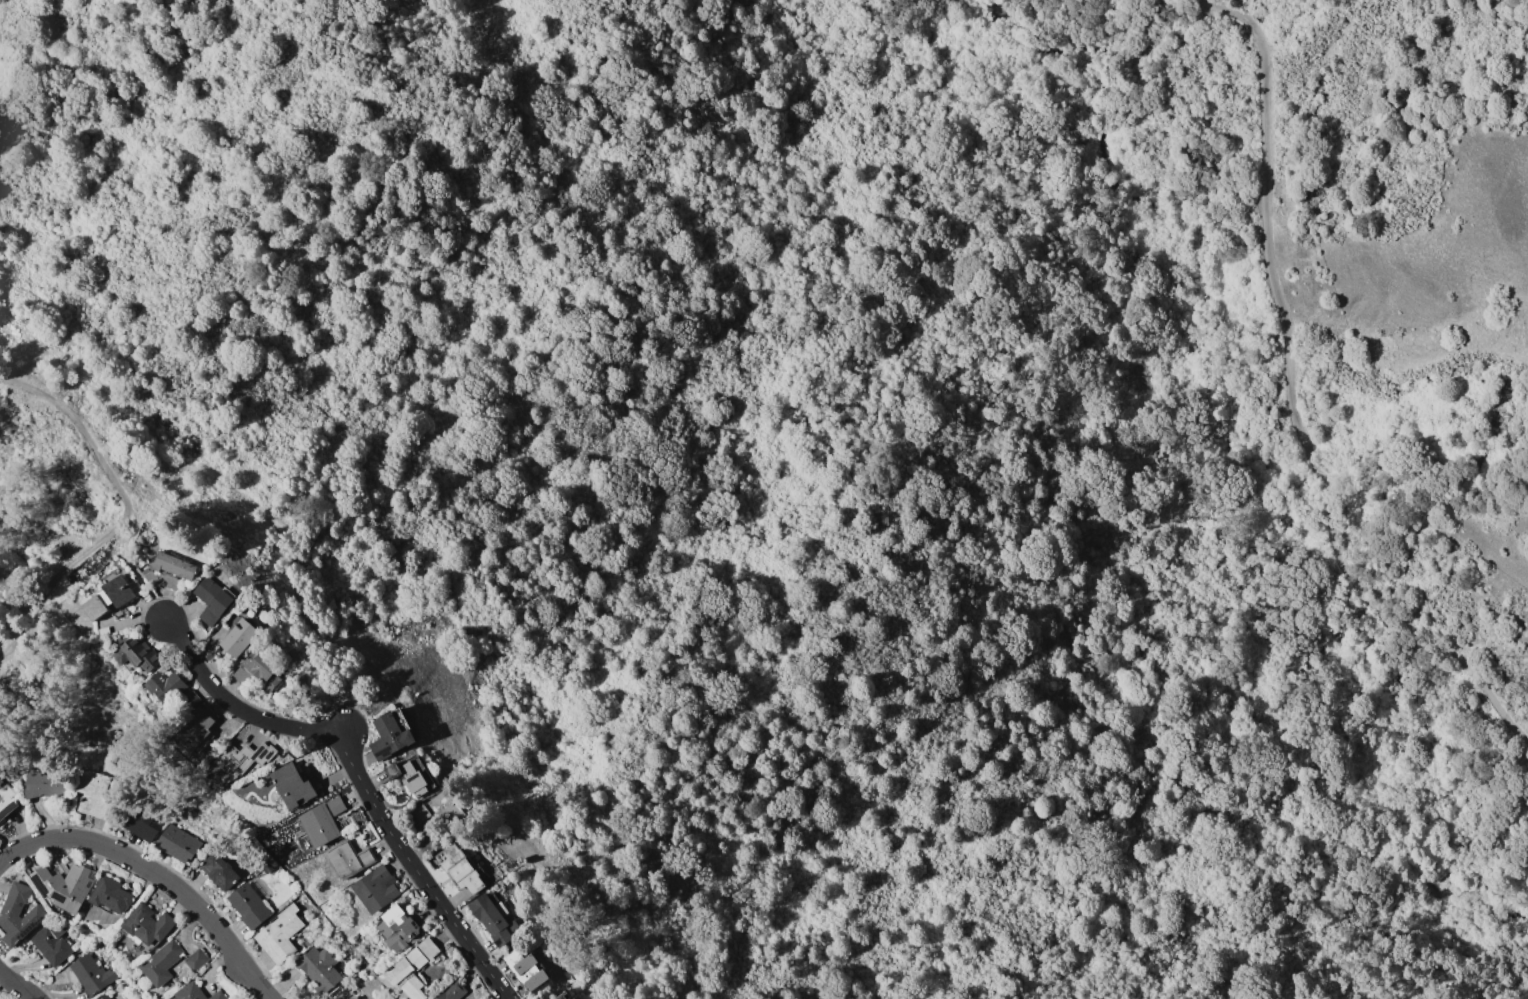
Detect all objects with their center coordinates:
road: (1292, 400)
road: (78, 424)
road: (1078, 488)
road: (268, 521)
road: (126, 559)
building: (172, 565)
building: (147, 573)
building: (168, 581)
building: (120, 589)
building: (212, 599)
building: (98, 605)
road: (39, 615)
building: (237, 634)
road: (176, 642)
building: (136, 656)
building: (255, 673)
building: (171, 690)
building: (194, 730)
building: (391, 734)
building: (237, 762)
building: (410, 774)
building: (0, 780)
building: (43, 784)
building: (292, 785)
road: (368, 793)
building: (92, 794)
building: (6, 801)
building: (446, 808)
building: (419, 812)
building: (321, 822)
building: (141, 824)
building: (177, 843)
building: (348, 859)
building: (461, 869)
building: (217, 870)
road: (155, 874)
building: (63, 886)
building: (377, 888)
building: (109, 896)
building: (248, 906)
building: (19, 914)
building: (493, 919)
building: (146, 926)
building: (398, 928)
building: (279, 934)
building: (52, 941)
building: (196, 960)
building: (108, 961)
building: (161, 963)
building: (319, 966)
building: (412, 968)
building: (525, 969)
building: (91, 974)
road: (17, 985)
building: (452, 991)
building: (195, 993)
building: (103, 996)
building: (560, 997)
building: (568, 998)
building: (573, 998)

